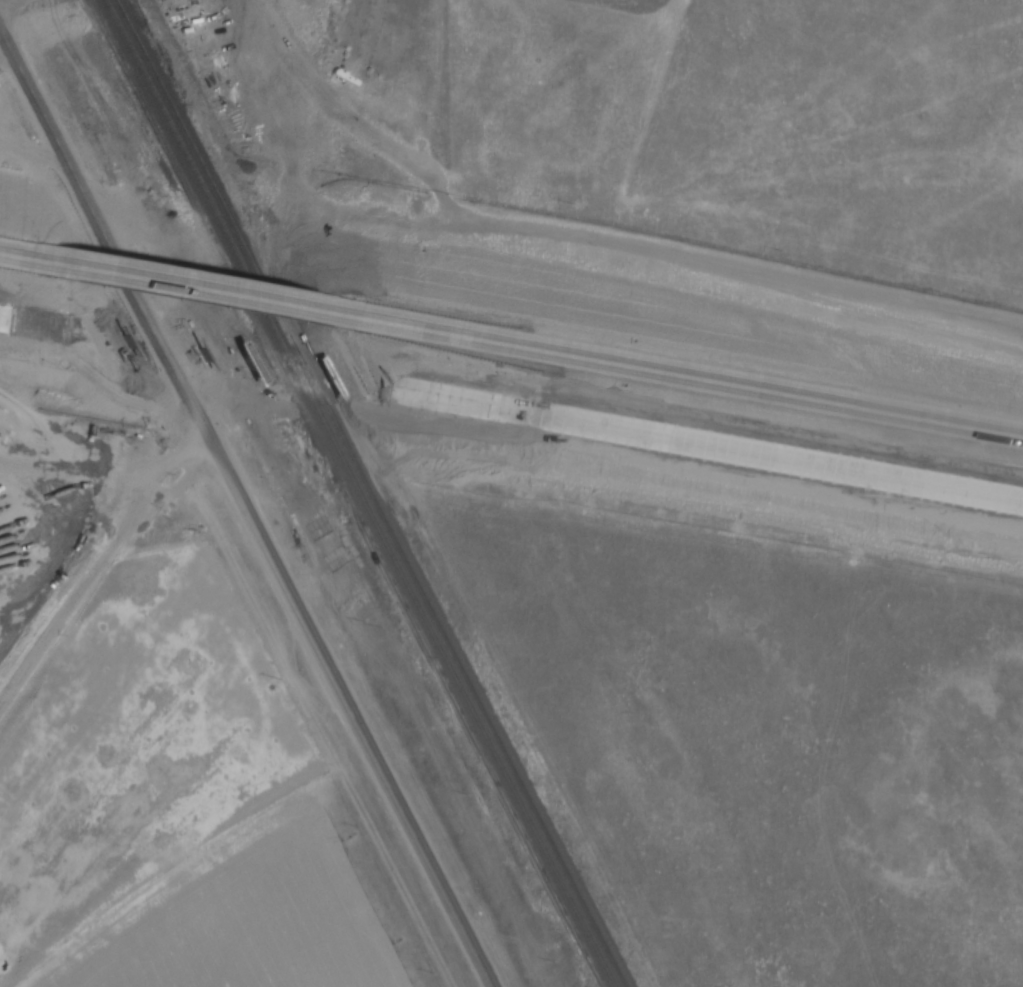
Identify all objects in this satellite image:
road: (30, 259)
road: (205, 291)
road: (47, 324)
road: (227, 356)
road: (686, 378)
road: (691, 439)
railway: (362, 492)
railway: (374, 494)
road: (248, 505)
crop: (49, 516)
road: (101, 560)
crop: (178, 809)

